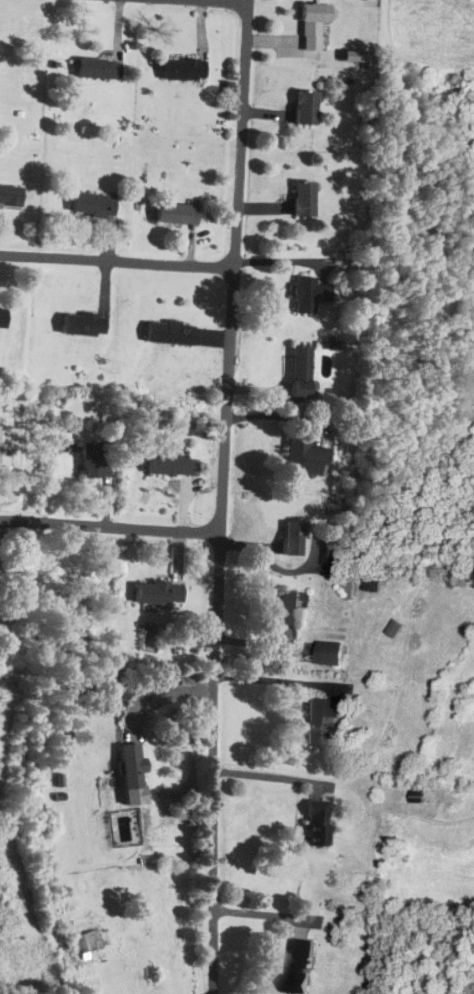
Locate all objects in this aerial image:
road: (214, 1)
building: (314, 24)
building: (99, 68)
building: (185, 69)
building: (307, 107)
building: (10, 195)
building: (305, 198)
building: (94, 204)
building: (177, 213)
road: (116, 263)
building: (312, 291)
building: (2, 318)
building: (84, 325)
building: (171, 333)
road: (230, 338)
building: (302, 374)
building: (4, 449)
building: (307, 458)
building: (96, 460)
building: (169, 465)
road: (109, 528)
building: (295, 539)
building: (336, 551)
building: (160, 593)
building: (291, 609)
road: (30, 650)
building: (332, 654)
building: (322, 719)
building: (133, 767)
road: (269, 776)
building: (317, 823)
road: (209, 835)
building: (86, 942)
building: (301, 967)

